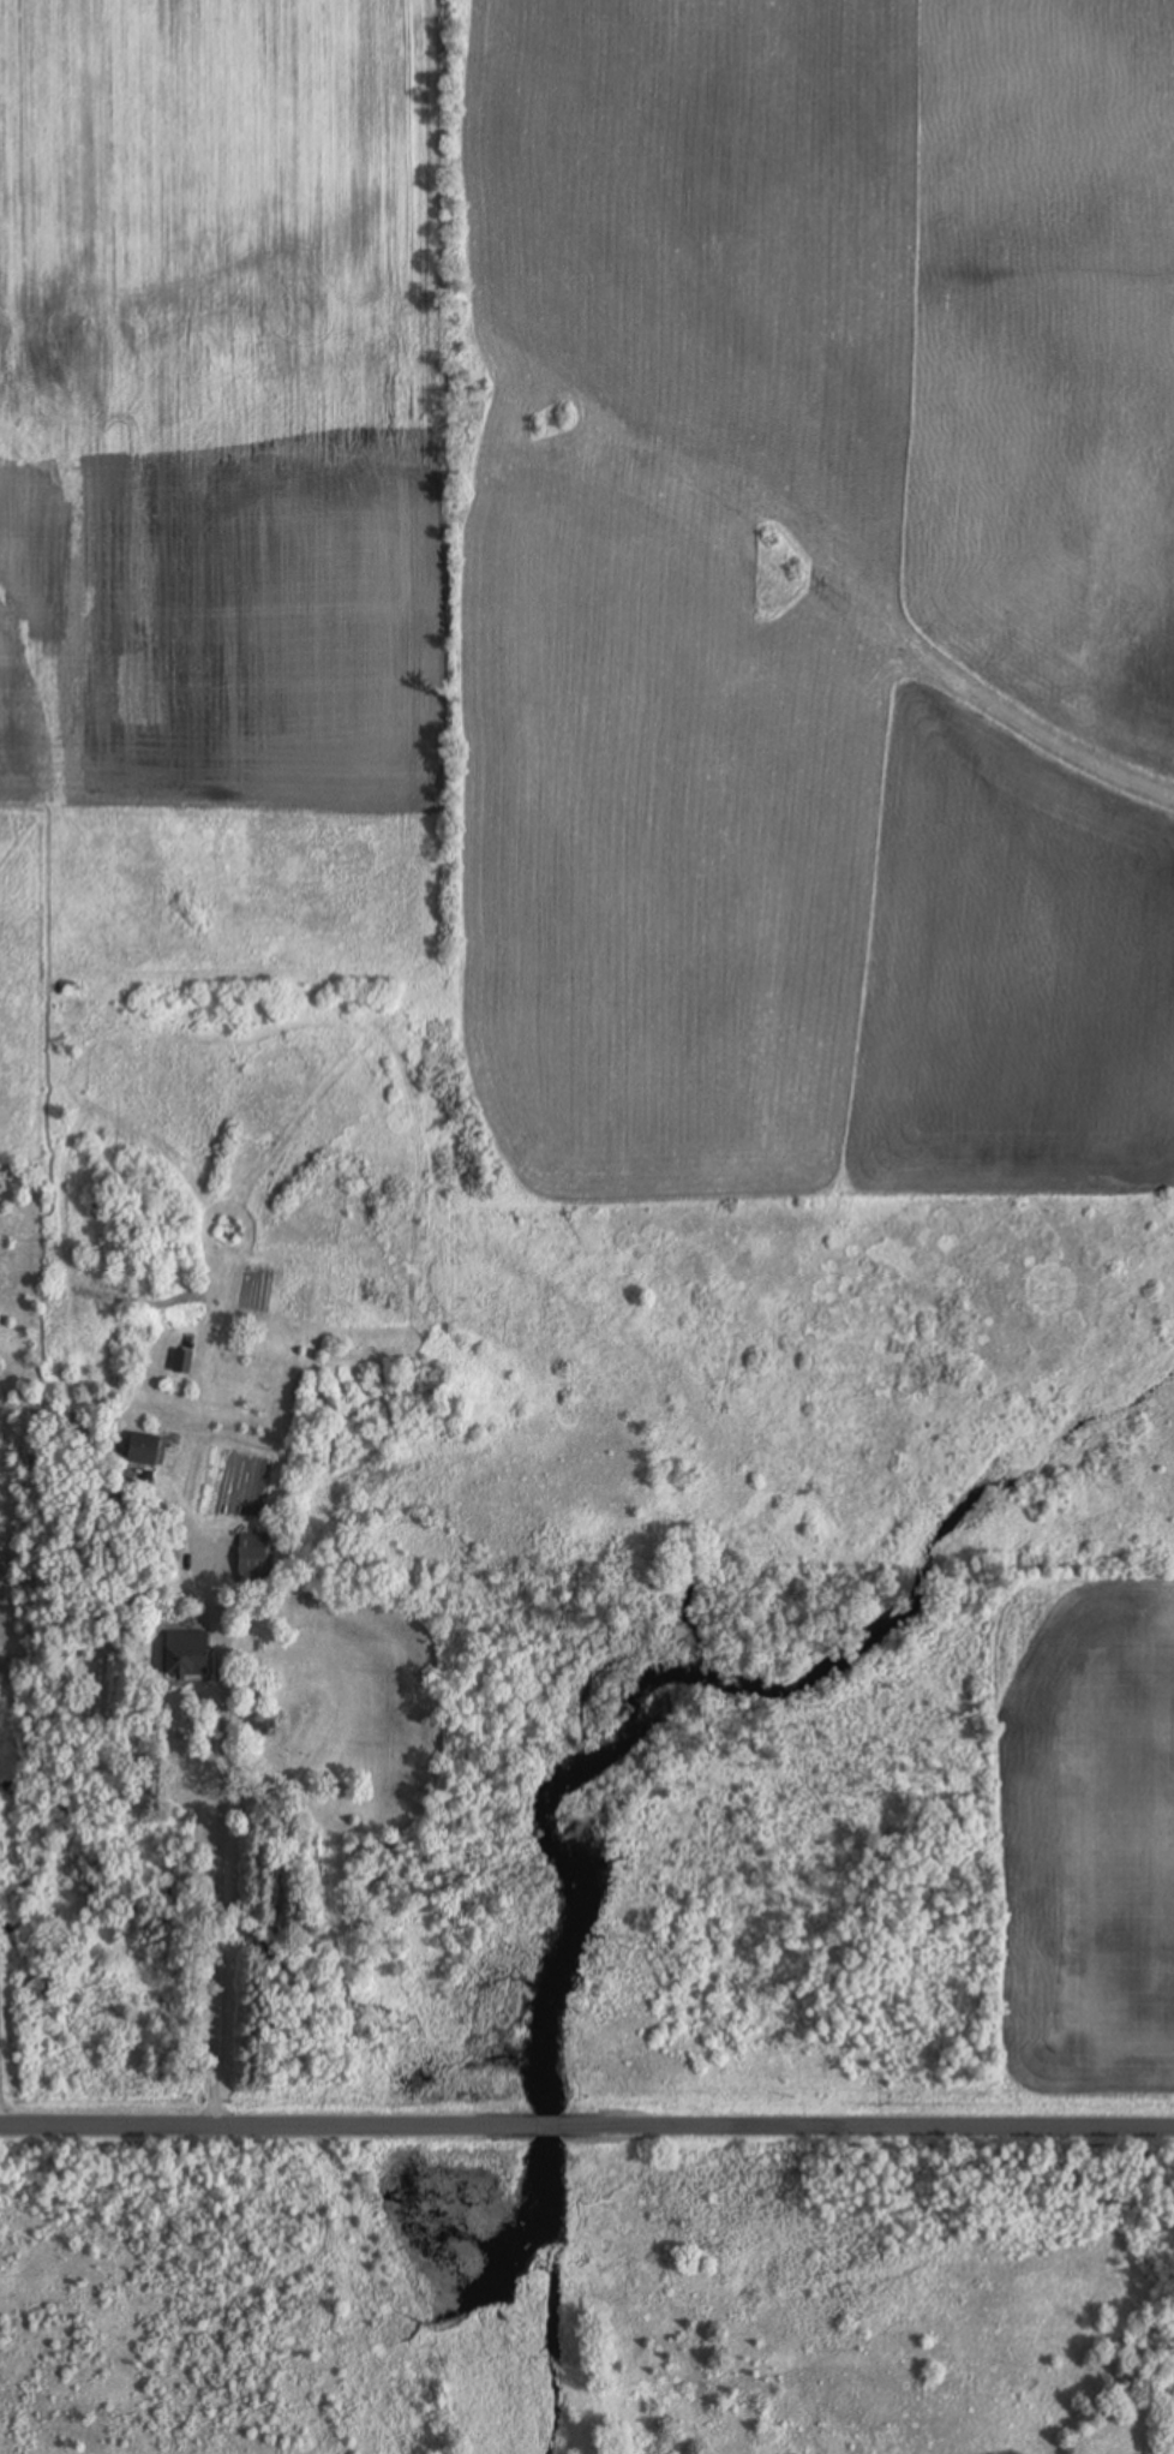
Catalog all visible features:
building: (181, 1361)
building: (142, 1449)
building: (252, 1559)
building: (186, 1653)
road: (215, 1895)
road: (587, 2115)

